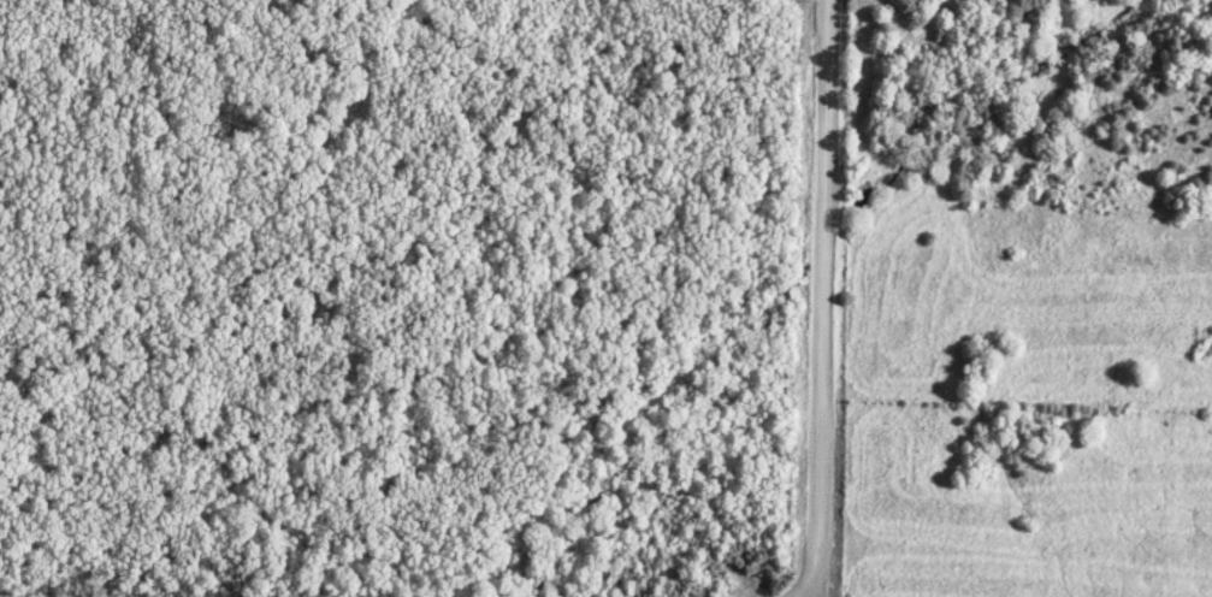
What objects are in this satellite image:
road: (817, 298)

